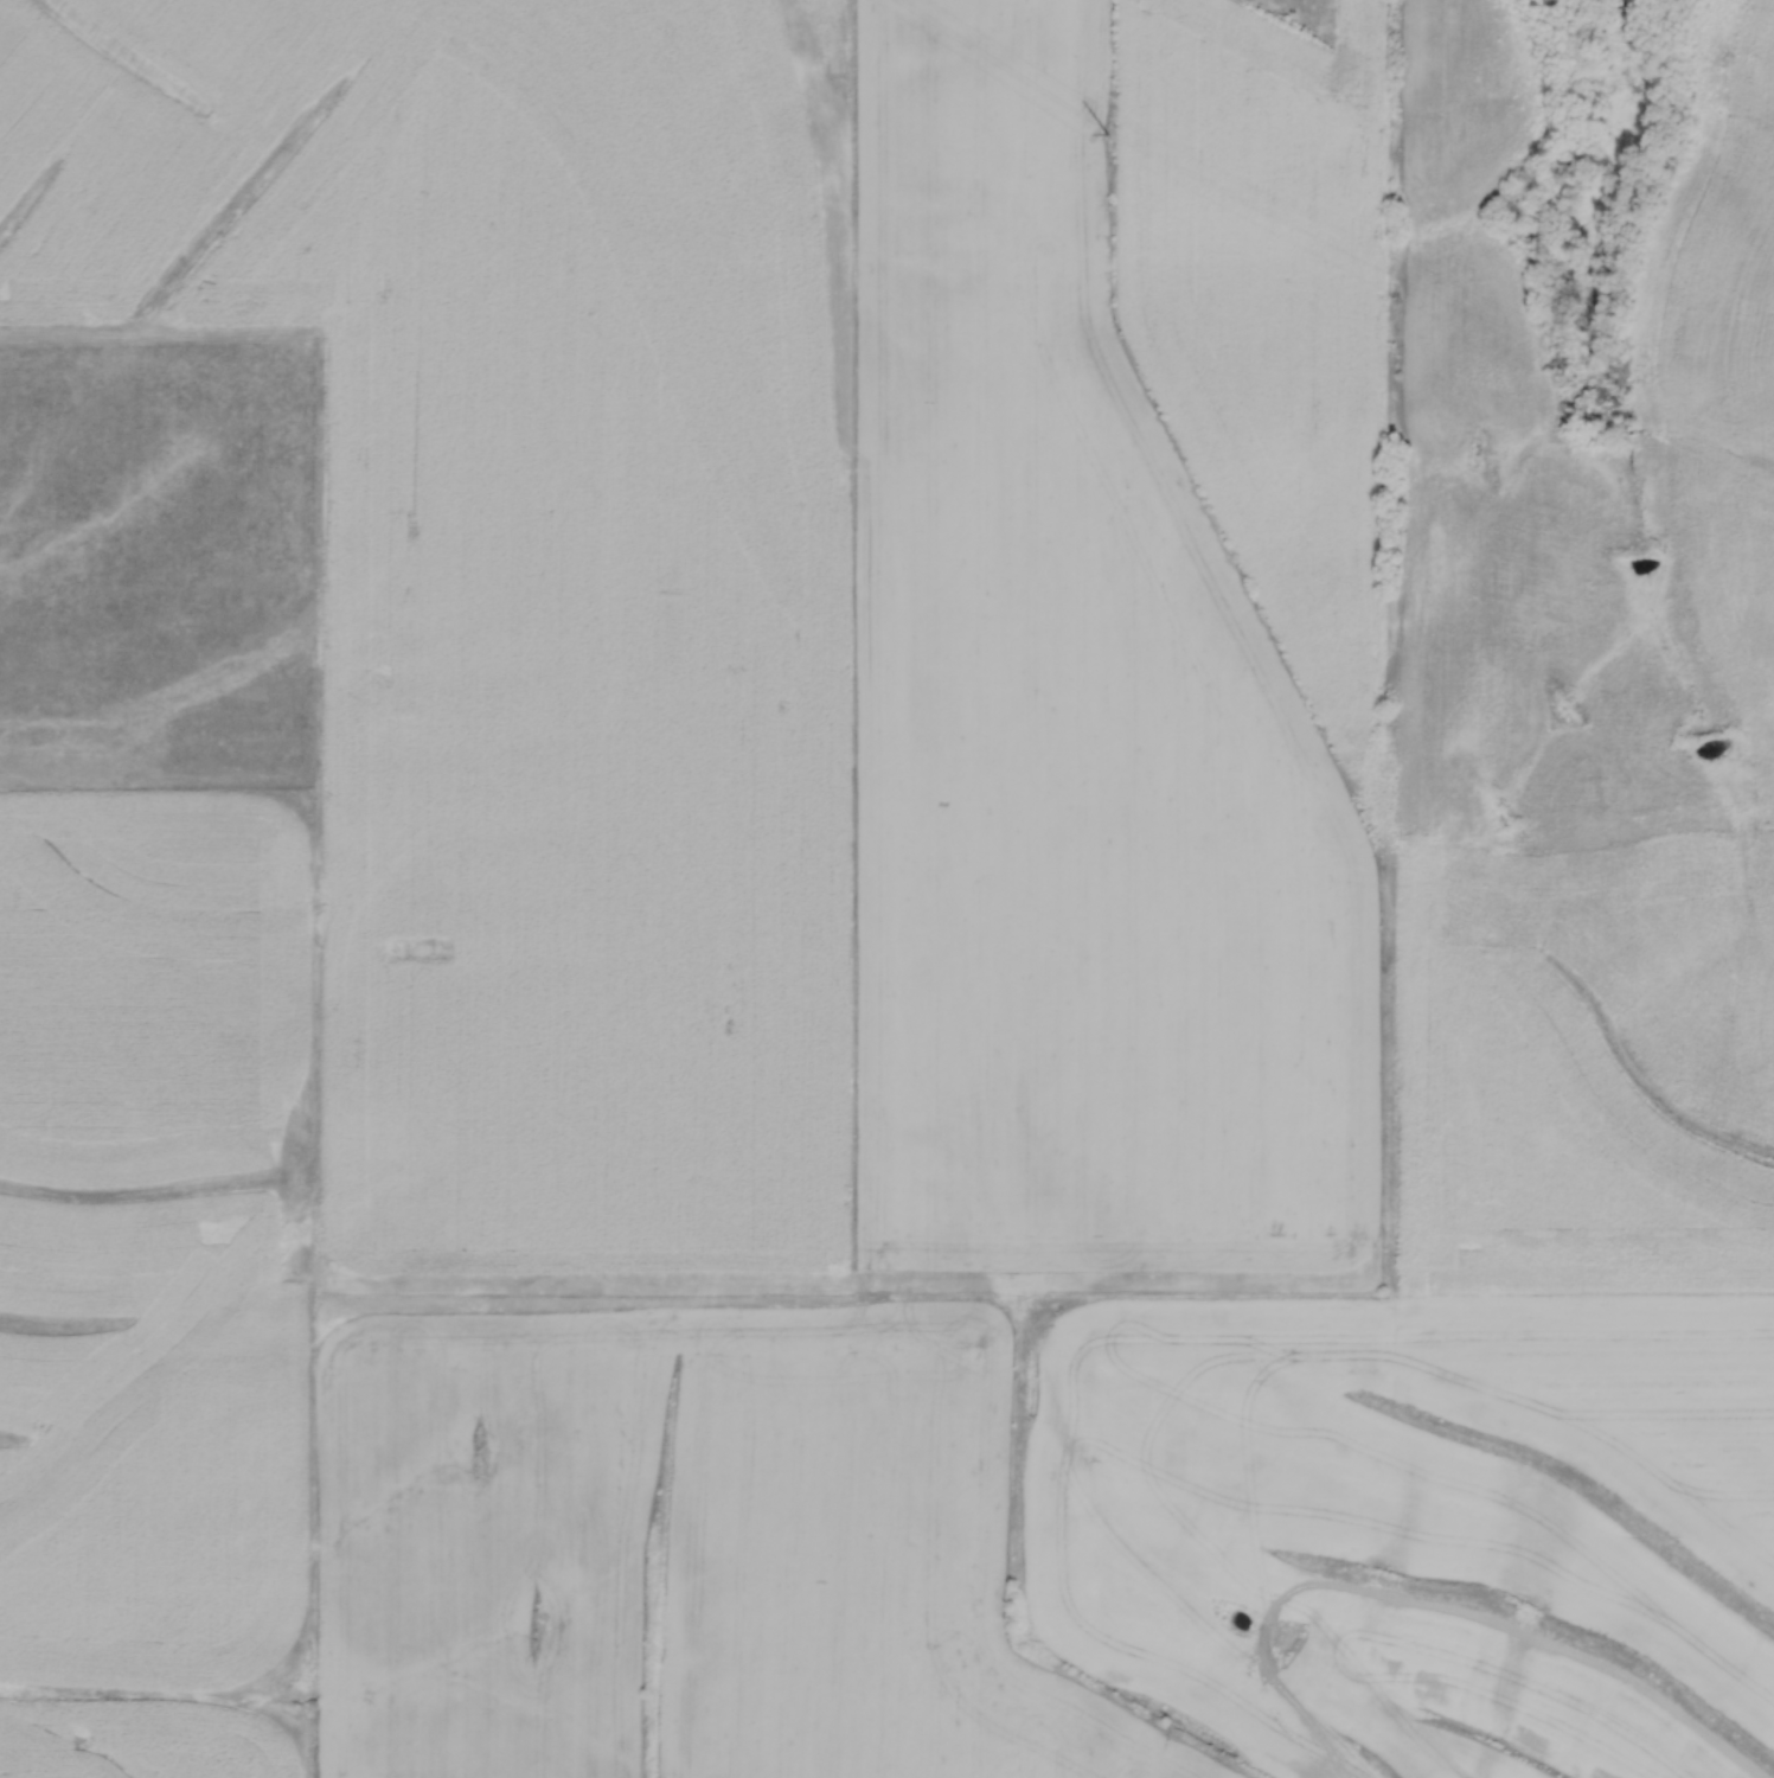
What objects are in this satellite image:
power tower: (1110, 136)

